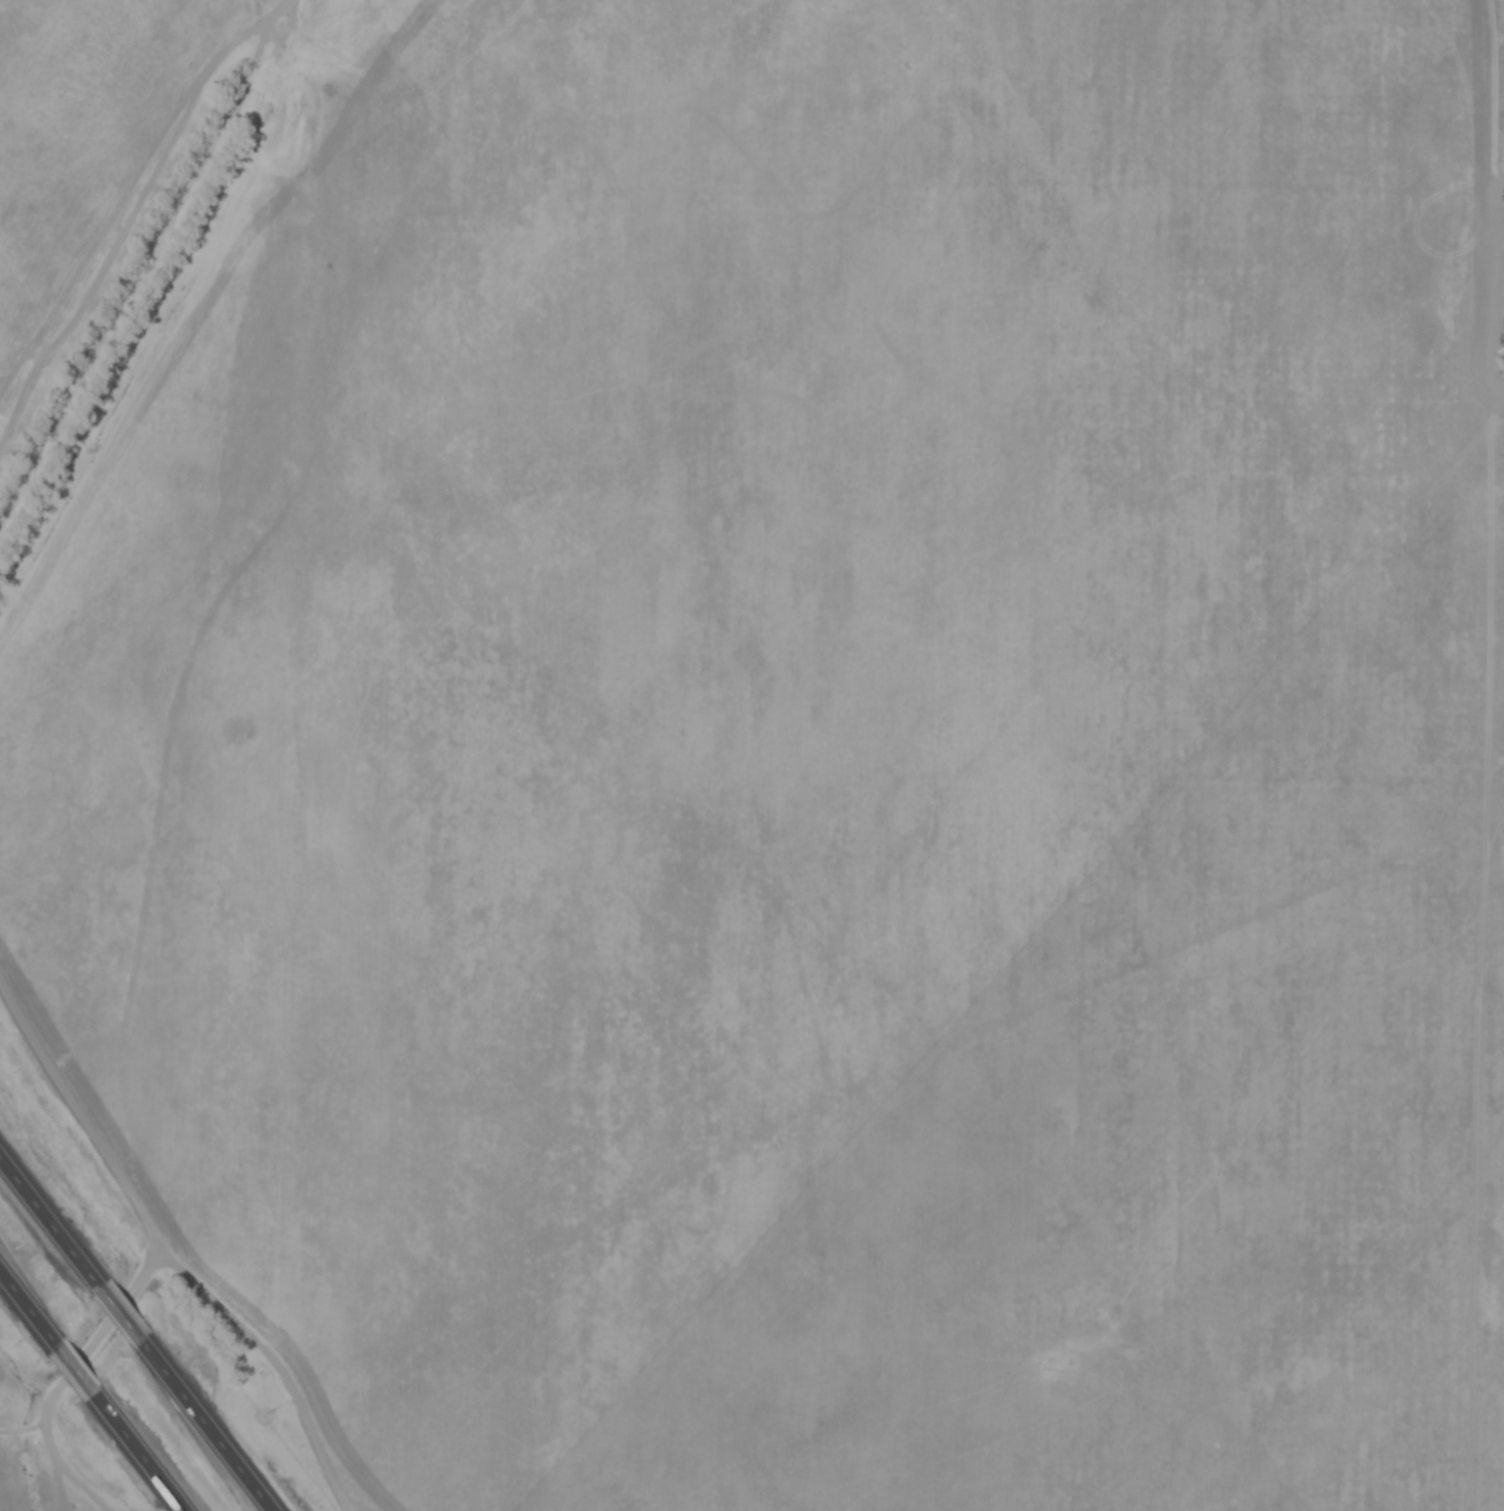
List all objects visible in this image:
road: (148, 265)
crop: (770, 738)
road: (46, 1220)
road: (173, 1262)
road: (24, 1306)
road: (115, 1308)
road: (67, 1363)
road: (63, 1379)
road: (203, 1424)
road: (21, 1428)
road: (133, 1449)

